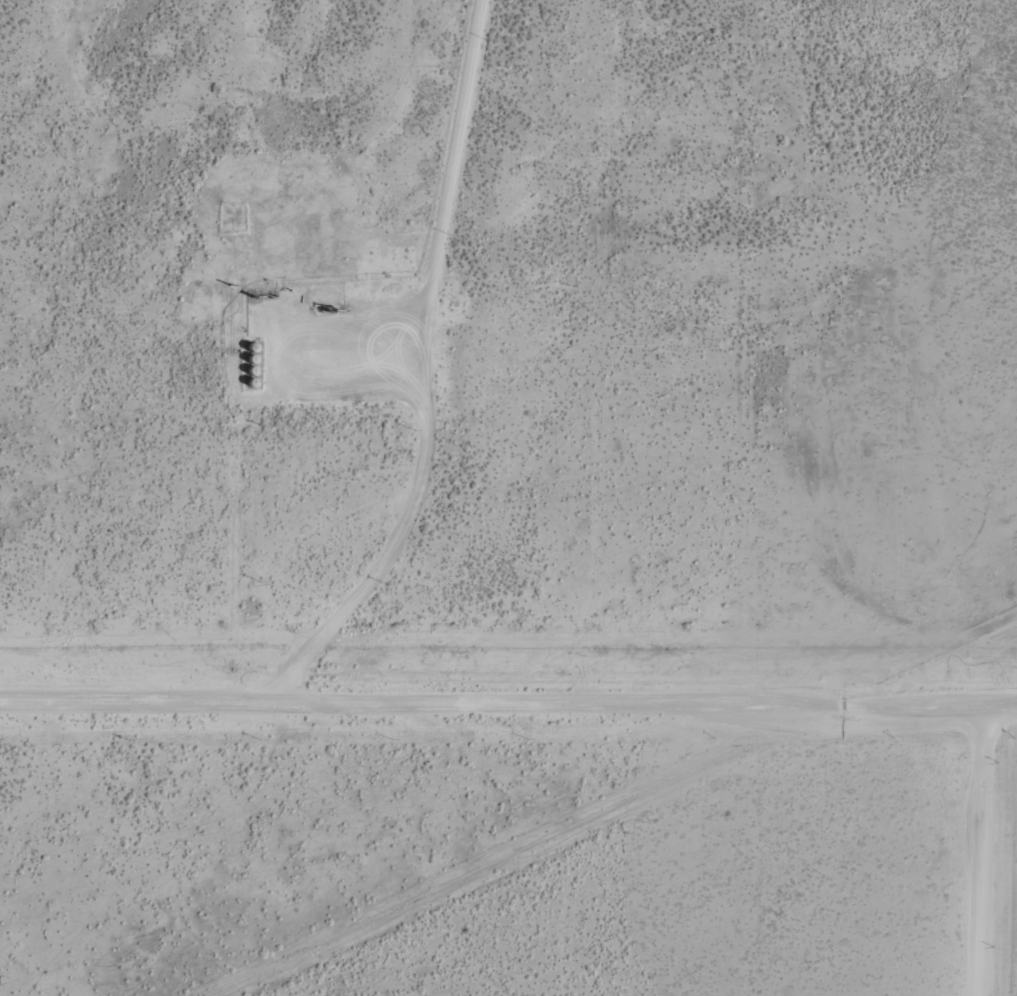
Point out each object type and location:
road: (508, 701)
road: (1011, 970)

